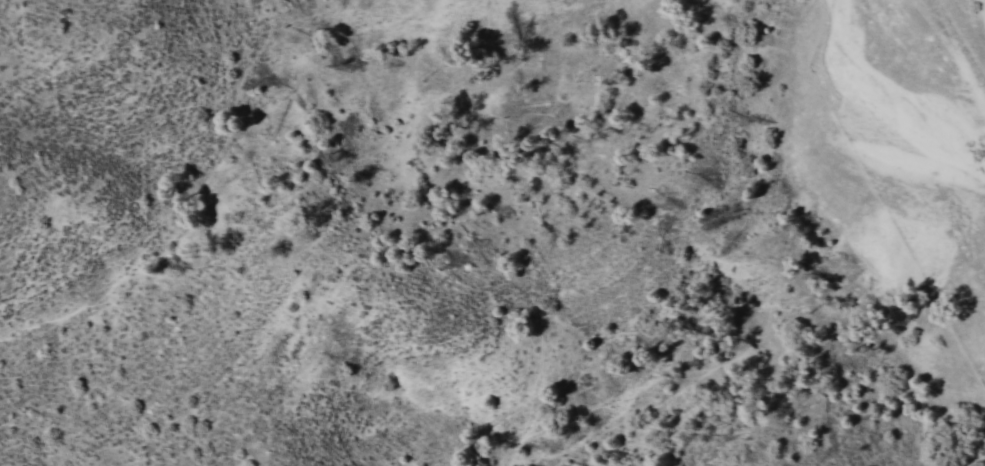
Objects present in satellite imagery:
road: (983, 8)

